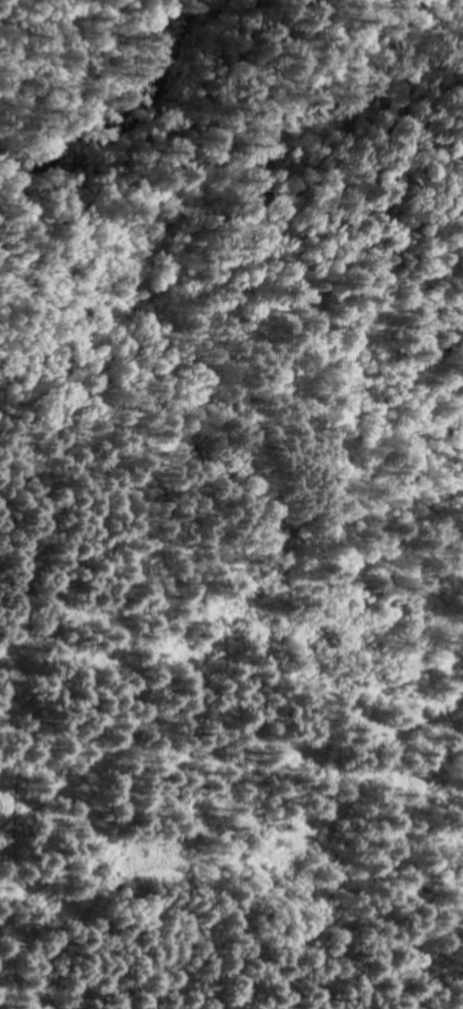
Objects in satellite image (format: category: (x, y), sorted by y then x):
building: (69, 1008)

